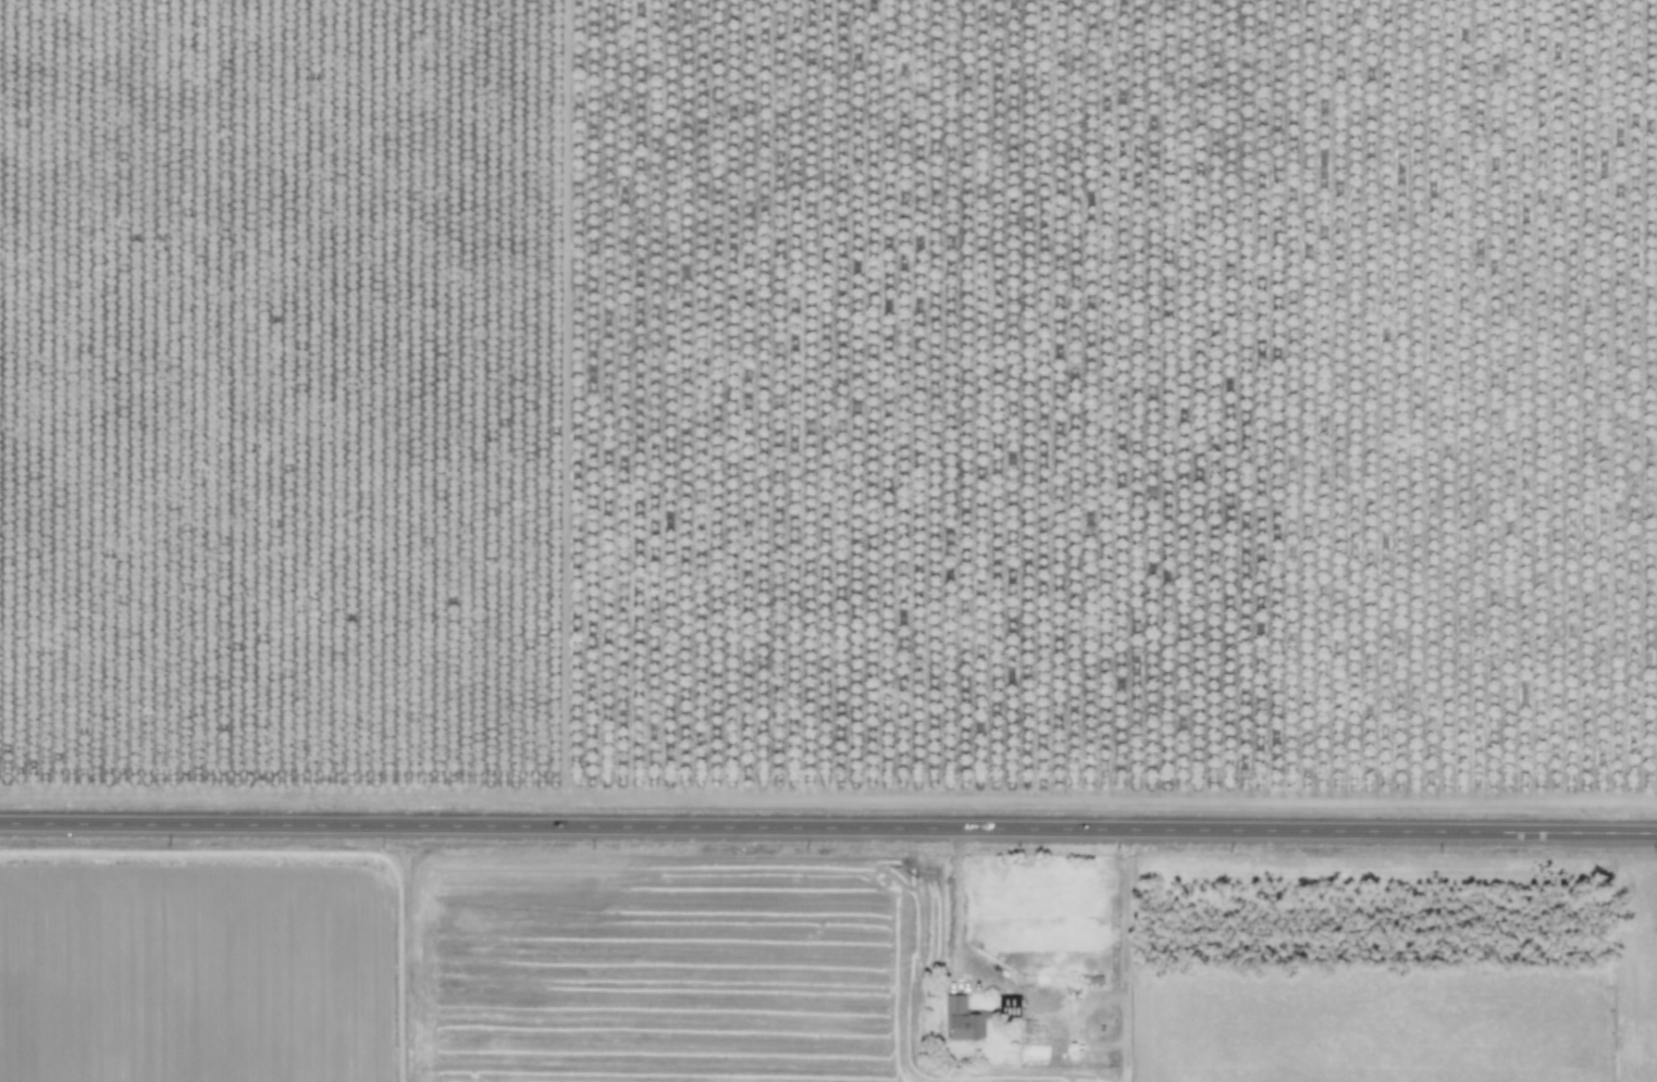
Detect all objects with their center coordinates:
road: (828, 828)
road: (956, 897)
building: (1007, 1005)
building: (962, 1019)

